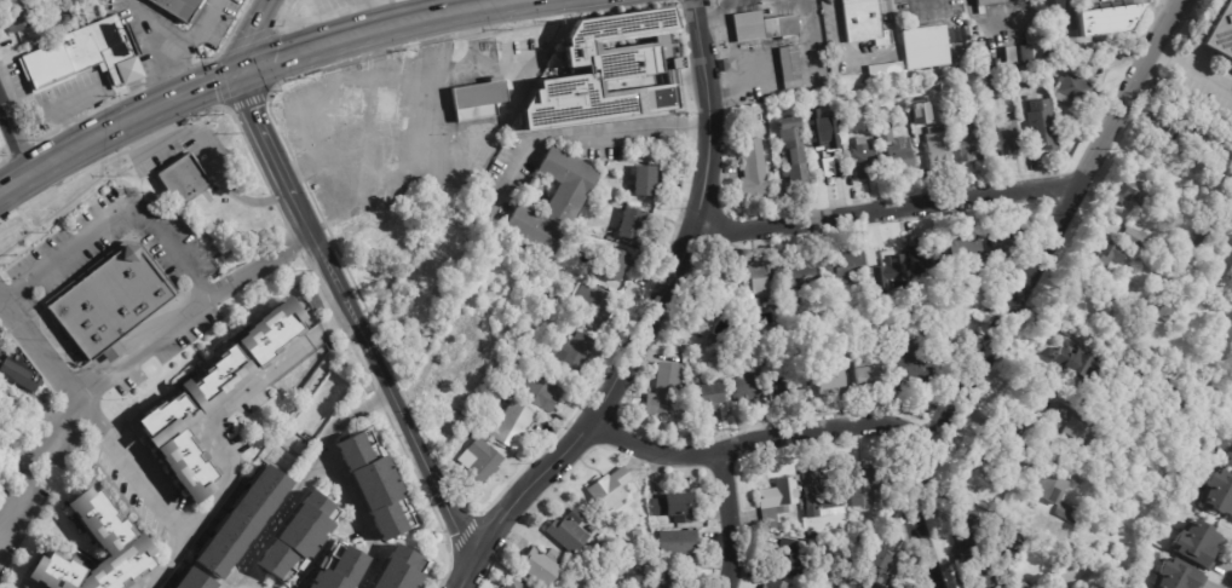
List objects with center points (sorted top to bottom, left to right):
building: (339, 1)
road: (923, 1)
building: (986, 1)
building: (1052, 4)
road: (421, 6)
building: (179, 8)
building: (70, 12)
road: (1070, 15)
road: (983, 18)
building: (21, 19)
building: (1106, 19)
building: (865, 22)
building: (764, 27)
road: (146, 30)
road: (251, 30)
building: (1220, 31)
road: (182, 45)
building: (722, 45)
road: (814, 45)
building: (1029, 46)
building: (926, 47)
building: (1049, 48)
building: (1006, 54)
building: (86, 57)
road: (863, 58)
building: (981, 59)
building: (726, 65)
traffic signals: (240, 67)
building: (787, 68)
road: (228, 70)
building: (885, 74)
building: (617, 75)
road: (788, 77)
building: (1021, 81)
building: (985, 82)
road: (743, 86)
building: (1072, 91)
building: (352, 99)
building: (479, 100)
building: (387, 102)
building: (950, 103)
building: (920, 116)
building: (1041, 123)
building: (846, 126)
building: (882, 127)
building: (808, 129)
building: (1171, 132)
road: (461, 134)
road: (577, 136)
building: (1009, 137)
road: (15, 139)
building: (971, 142)
road: (267, 148)
building: (937, 149)
building: (793, 150)
building: (898, 154)
building: (863, 162)
building: (829, 166)
road: (212, 168)
building: (753, 169)
building: (464, 178)
building: (185, 179)
building: (647, 181)
building: (1134, 191)
building: (557, 203)
road: (888, 208)
road: (119, 211)
building: (634, 224)
building: (1134, 237)
building: (1202, 238)
building: (1003, 242)
building: (963, 248)
building: (921, 259)
building: (1104, 259)
building: (879, 261)
building: (617, 265)
building: (844, 265)
building: (800, 272)
building: (464, 273)
building: (720, 275)
building: (754, 275)
building: (426, 281)
building: (1161, 286)
building: (956, 287)
road: (1024, 289)
building: (551, 292)
building: (554, 298)
building: (470, 301)
building: (113, 304)
road: (657, 305)
building: (597, 307)
building: (708, 310)
building: (1164, 312)
building: (536, 322)
building: (489, 327)
building: (934, 330)
building: (508, 335)
road: (1077, 335)
building: (472, 348)
building: (0, 353)
road: (143, 354)
building: (535, 354)
building: (575, 356)
building: (0, 361)
road: (428, 361)
building: (1080, 364)
building: (913, 365)
building: (1231, 365)
building: (865, 370)
building: (23, 371)
building: (827, 380)
building: (783, 385)
building: (747, 386)
building: (547, 390)
building: (664, 390)
road: (390, 391)
building: (704, 396)
building: (215, 399)
building: (1151, 399)
road: (231, 405)
building: (1202, 411)
building: (1066, 425)
building: (516, 426)
building: (471, 434)
road: (762, 438)
building: (1162, 443)
building: (1227, 452)
building: (482, 461)
road: (138, 466)
road: (39, 469)
road: (342, 478)
building: (869, 480)
building: (381, 485)
building: (1049, 485)
building: (614, 489)
building: (1216, 490)
building: (775, 498)
building: (822, 498)
building: (1107, 501)
building: (679, 506)
building: (1069, 513)
road: (278, 519)
road: (731, 519)
building: (243, 520)
building: (968, 523)
building: (649, 526)
building: (594, 528)
building: (570, 532)
building: (812, 535)
building: (300, 537)
building: (681, 541)
building: (1196, 542)
building: (126, 543)
building: (555, 554)
building: (789, 558)
road: (171, 563)
building: (869, 563)
building: (542, 566)
building: (340, 567)
building: (402, 572)
road: (462, 573)
building: (981, 573)
building: (1176, 575)
road: (1227, 576)
building: (670, 578)
building: (195, 581)
building: (773, 583)
building: (516, 584)
building: (1023, 584)
building: (646, 586)
building: (1009, 586)
building: (860, 587)
building: (1086, 587)

